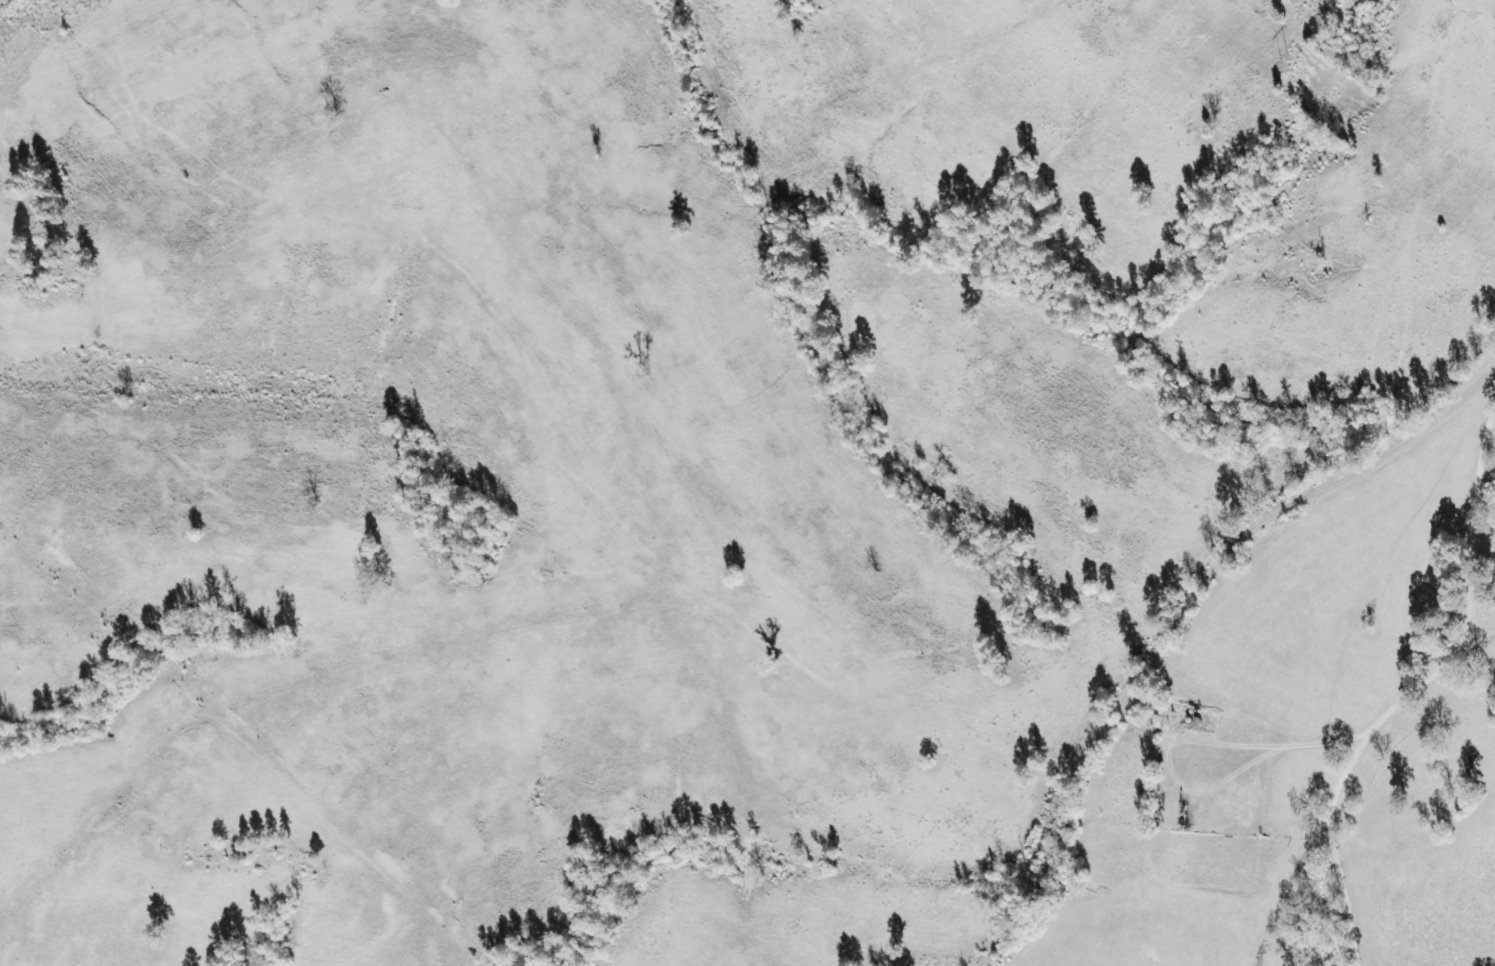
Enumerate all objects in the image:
power tower: (1287, 55)
road: (1213, 618)

